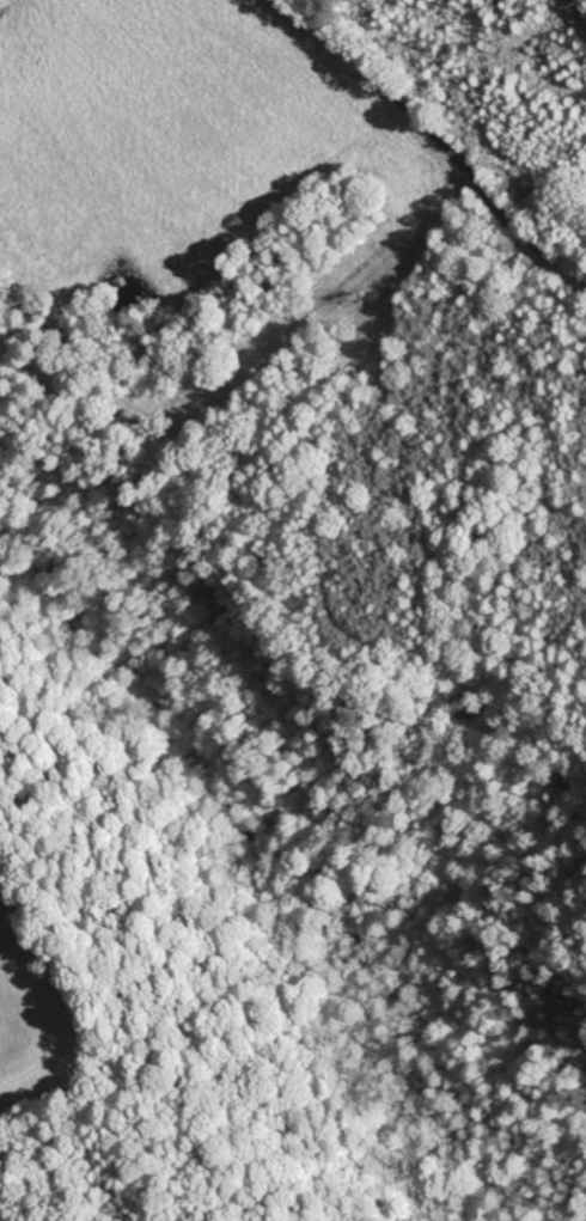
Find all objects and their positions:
road: (434, 138)

